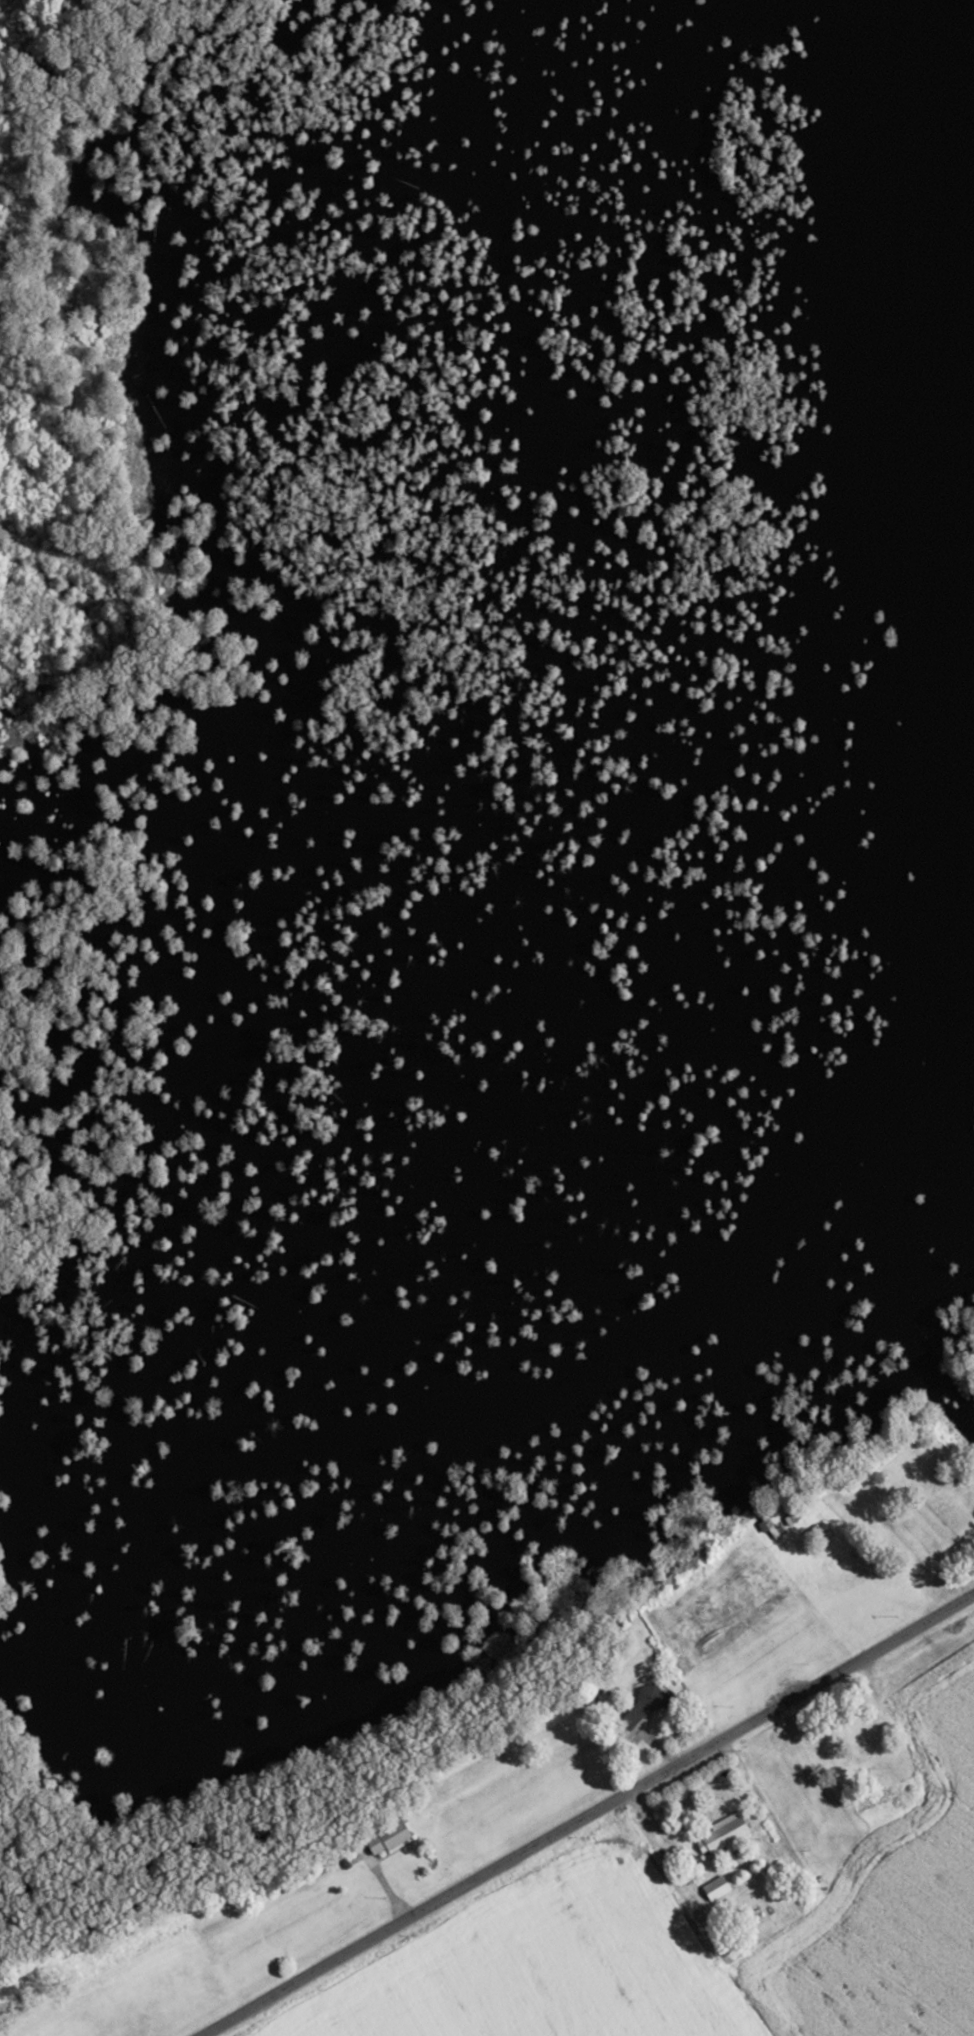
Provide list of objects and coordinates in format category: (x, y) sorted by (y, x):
building: (645, 1704)
road: (589, 1815)

